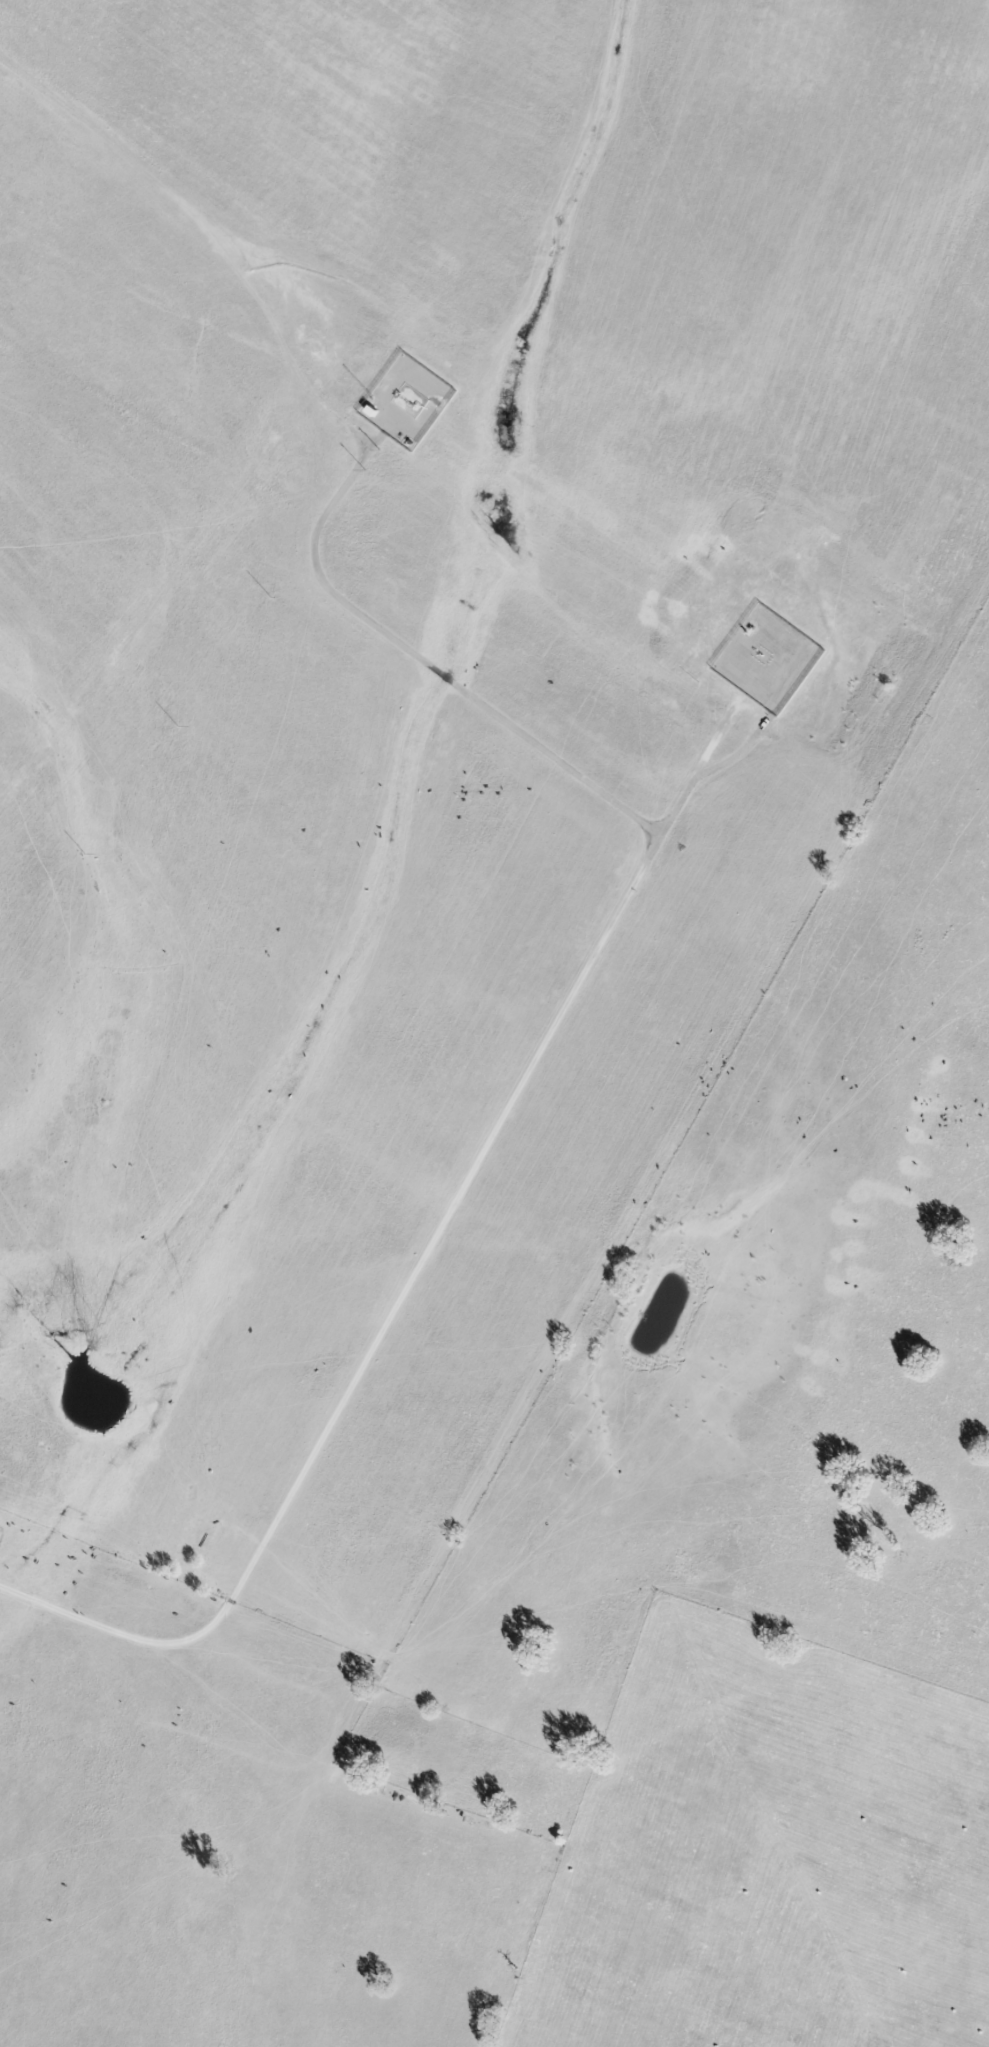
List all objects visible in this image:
road: (438, 670)
road: (399, 1298)

